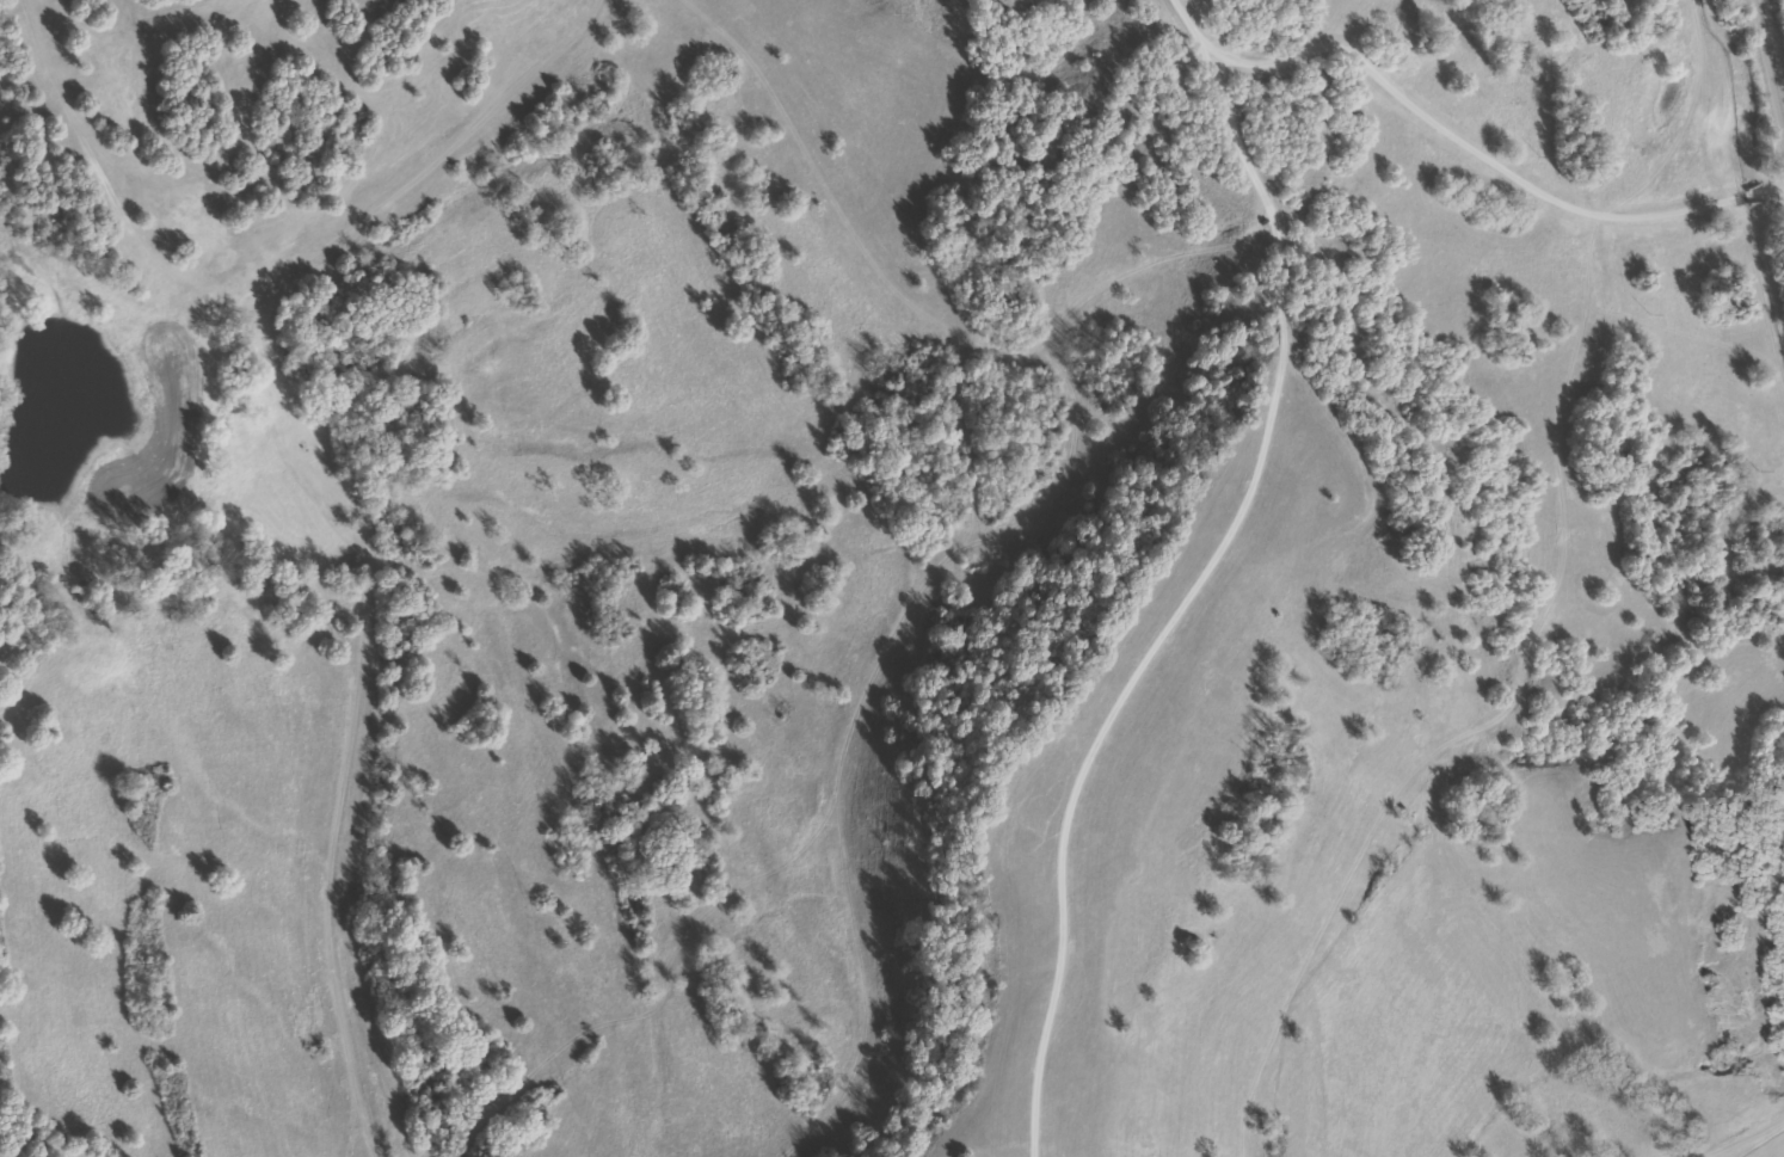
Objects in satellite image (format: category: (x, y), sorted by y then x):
road: (1764, 81)

